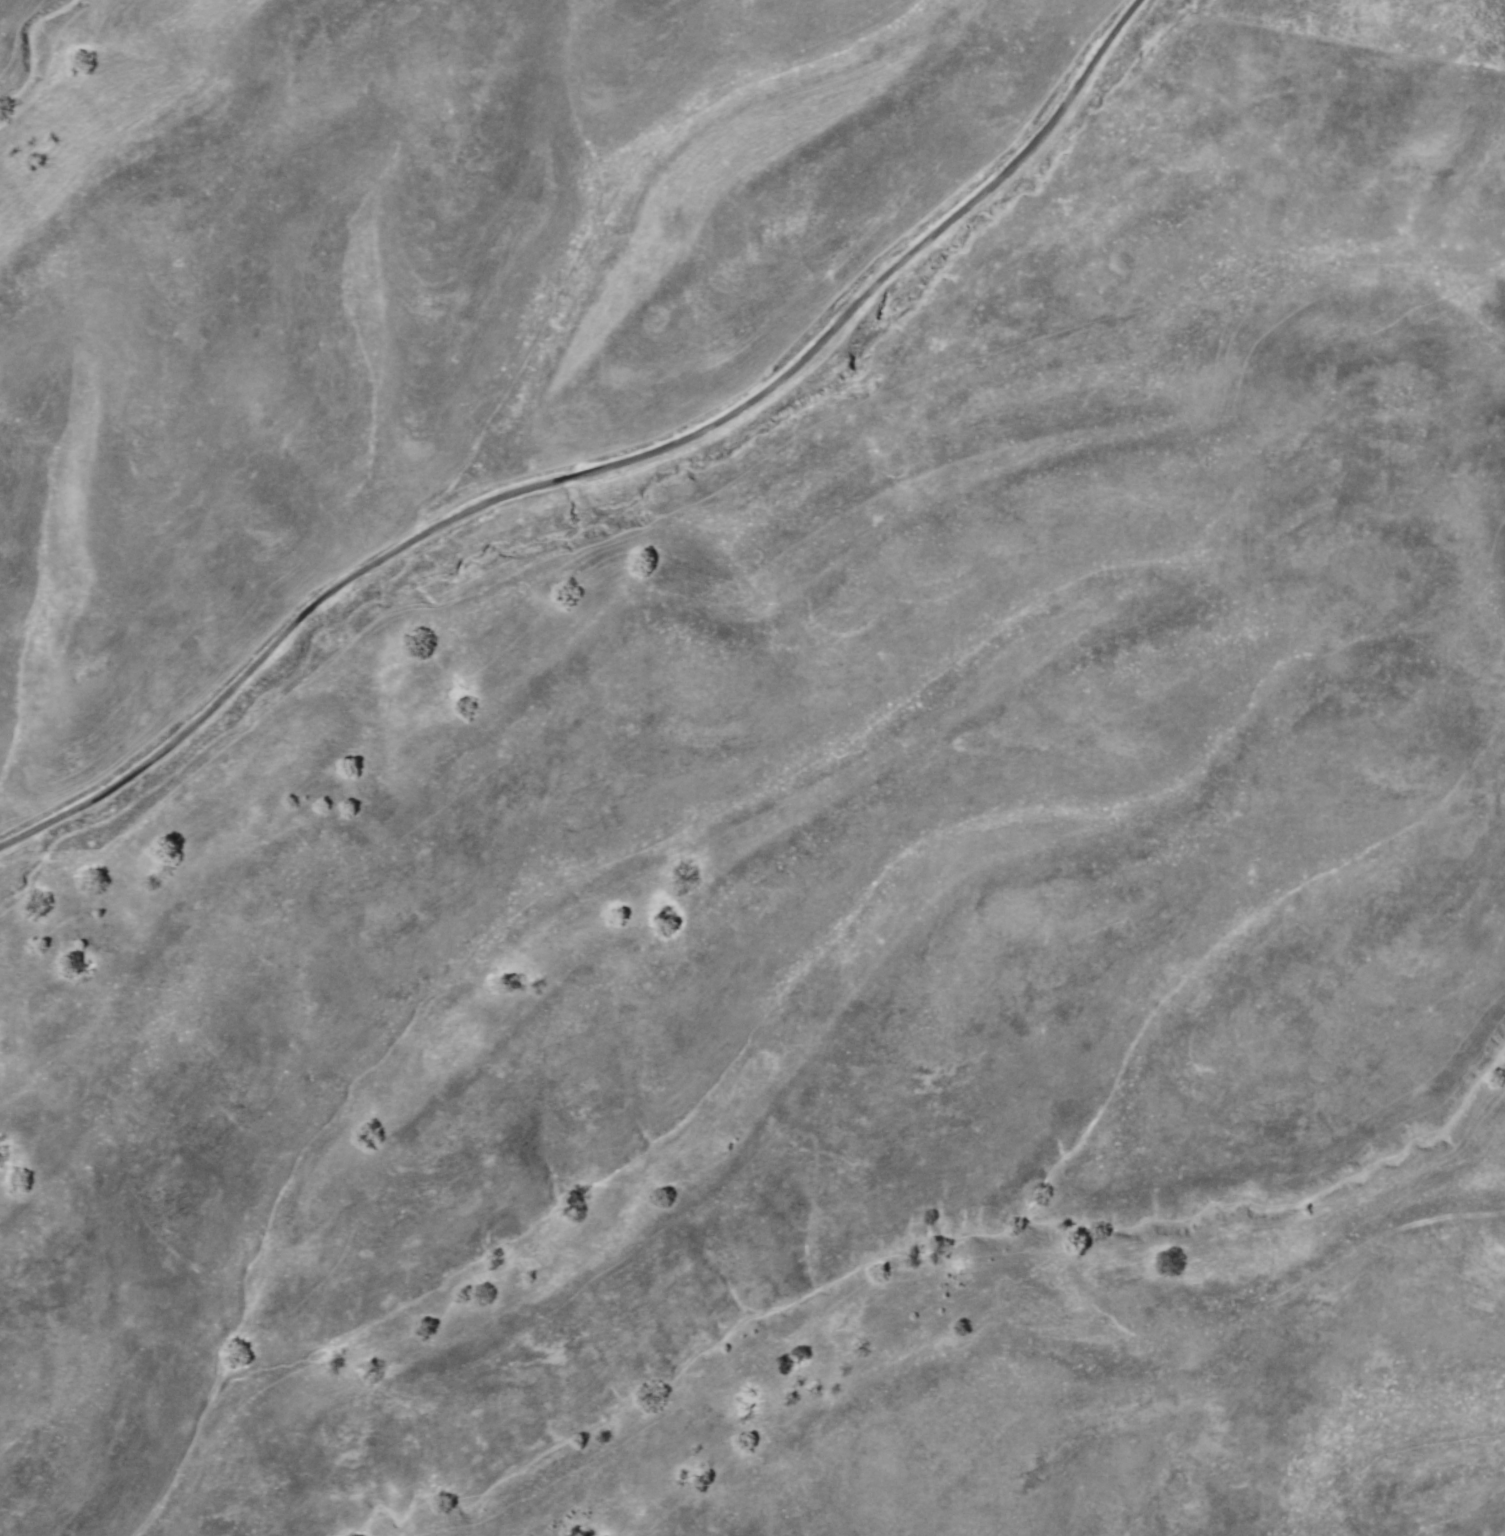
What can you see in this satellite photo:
road: (603, 467)

